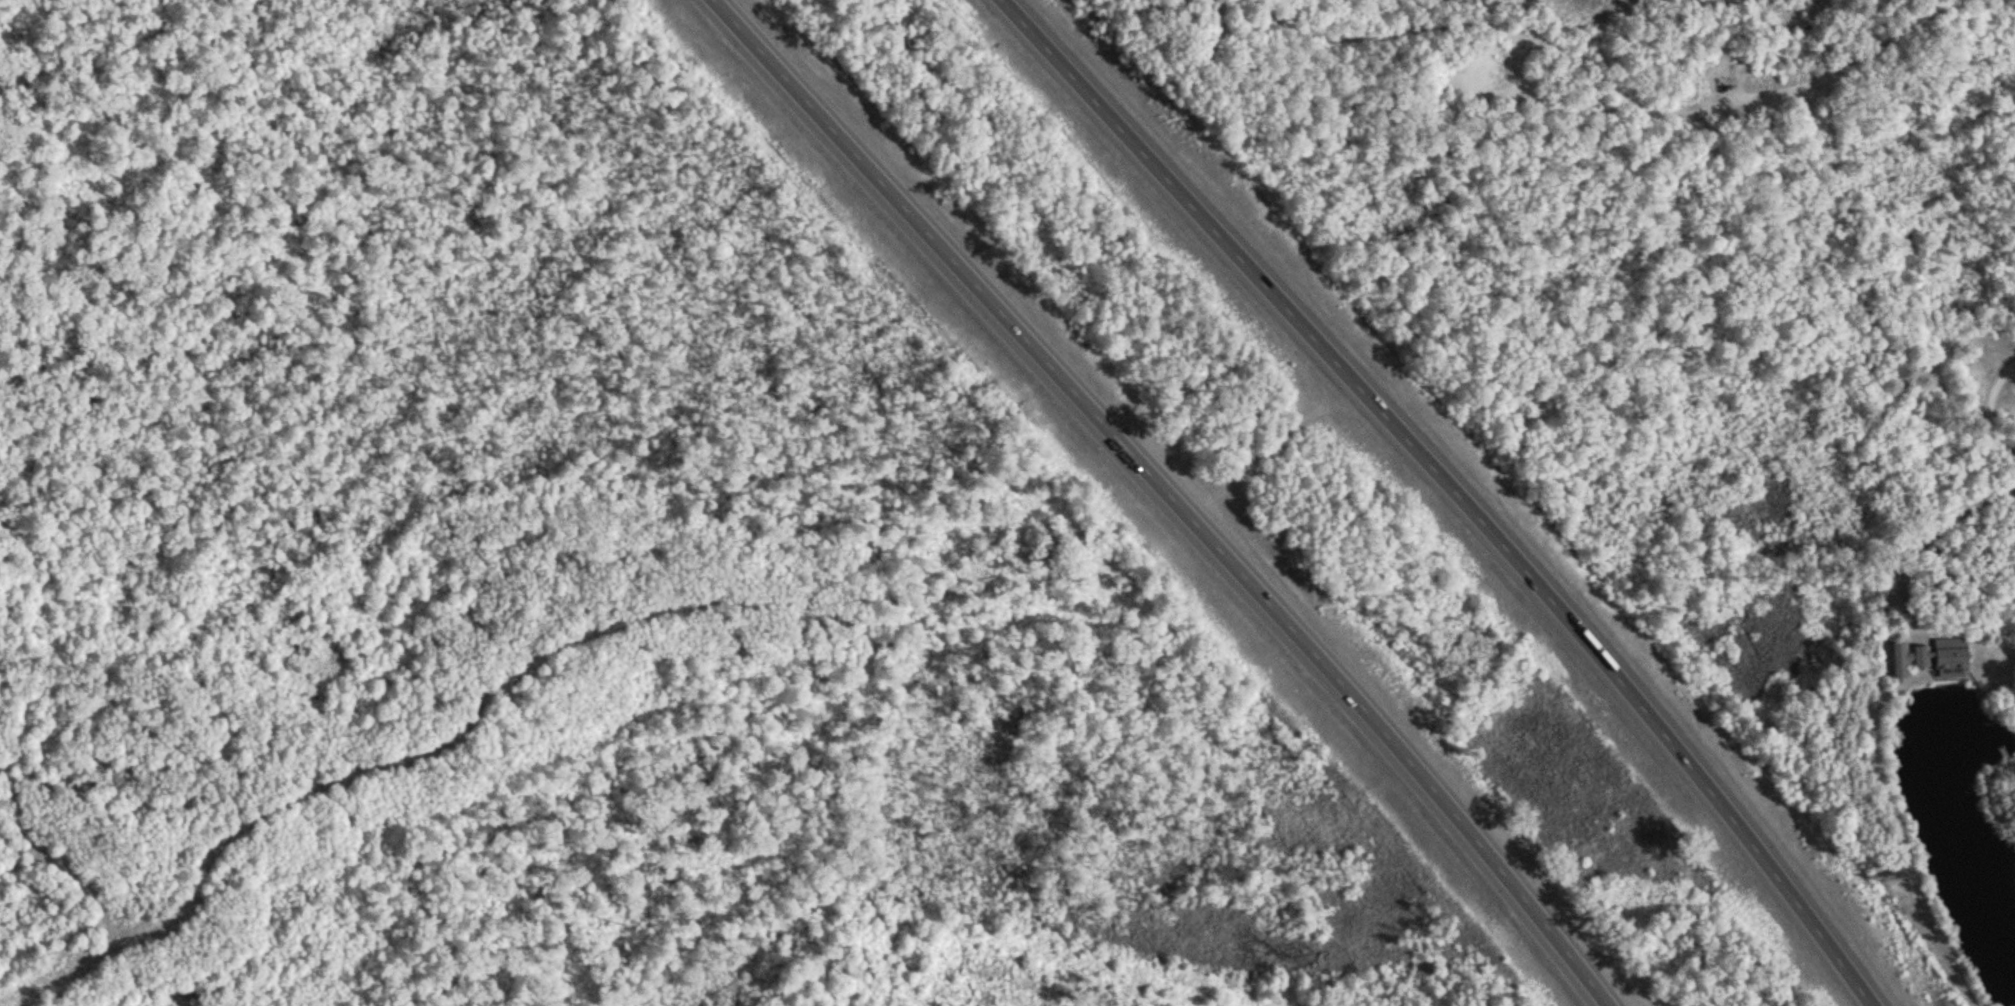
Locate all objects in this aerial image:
road: (1430, 33)
petroleum well: (1725, 83)
road: (1810, 88)
road: (1452, 487)
road: (1171, 495)
building: (1954, 655)
building: (1909, 658)
road: (234, 845)

